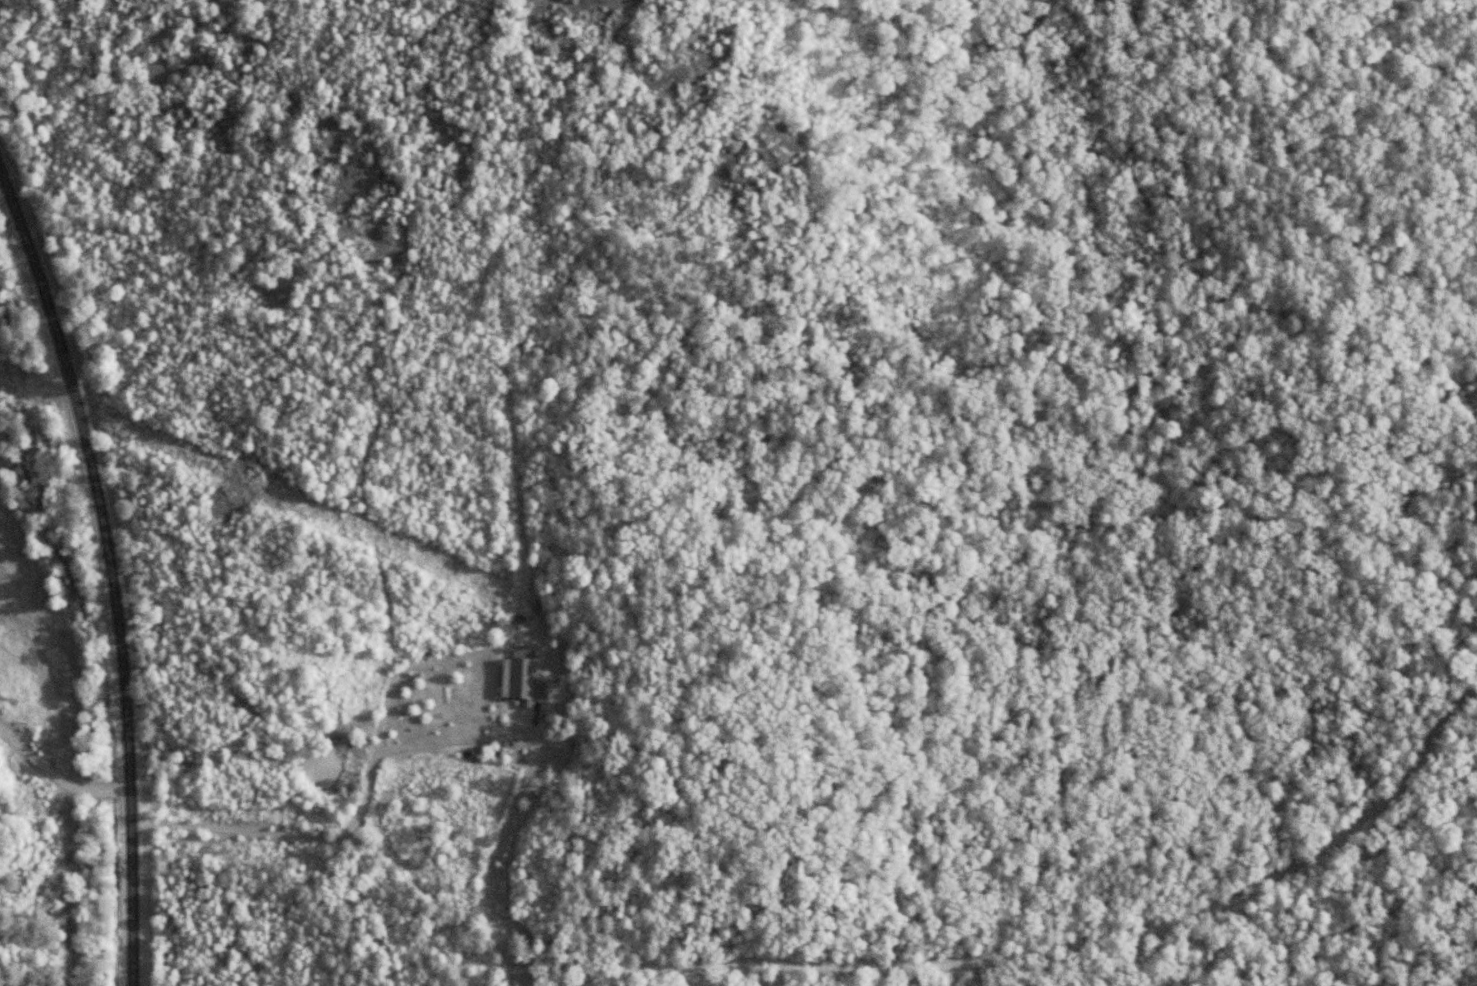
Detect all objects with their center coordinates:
road: (111, 570)
building: (523, 680)
road: (1041, 946)

